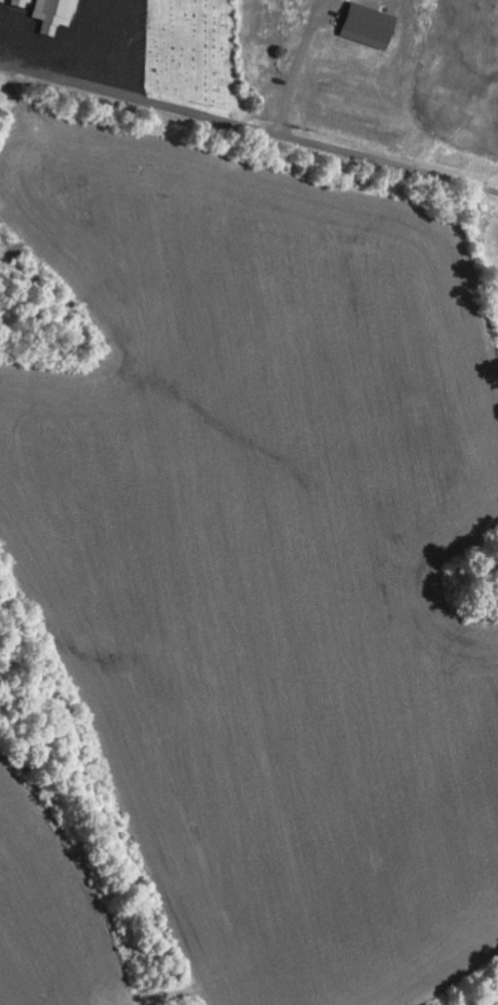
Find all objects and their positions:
building: (23, 3)
building: (58, 15)
building: (373, 27)
park: (188, 51)
road: (232, 125)

